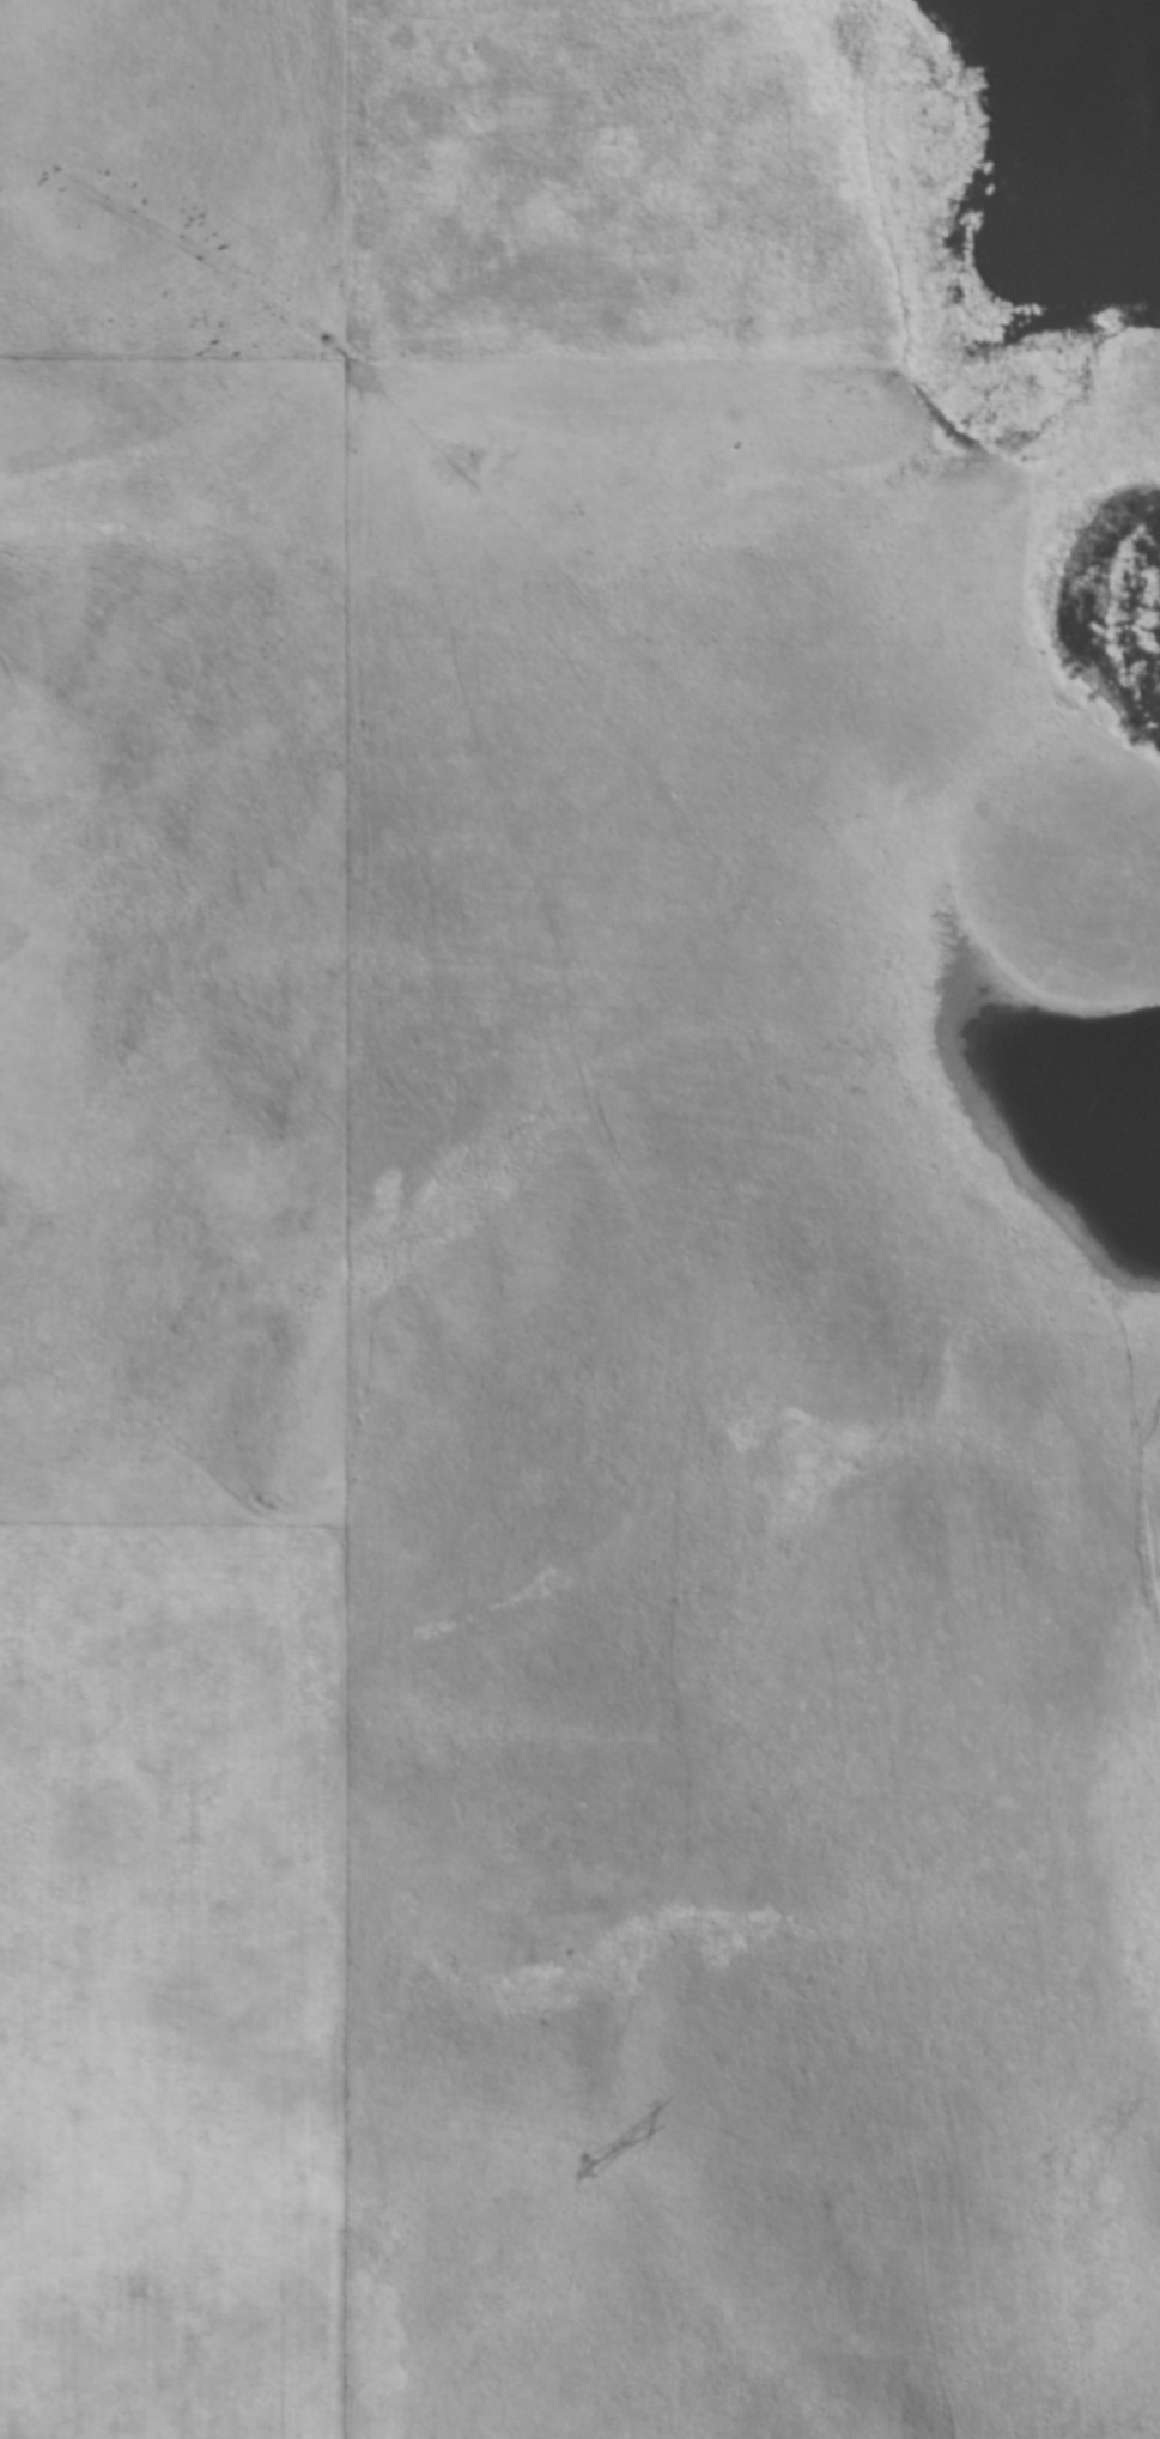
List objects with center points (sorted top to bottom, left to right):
power tower: (589, 2148)

